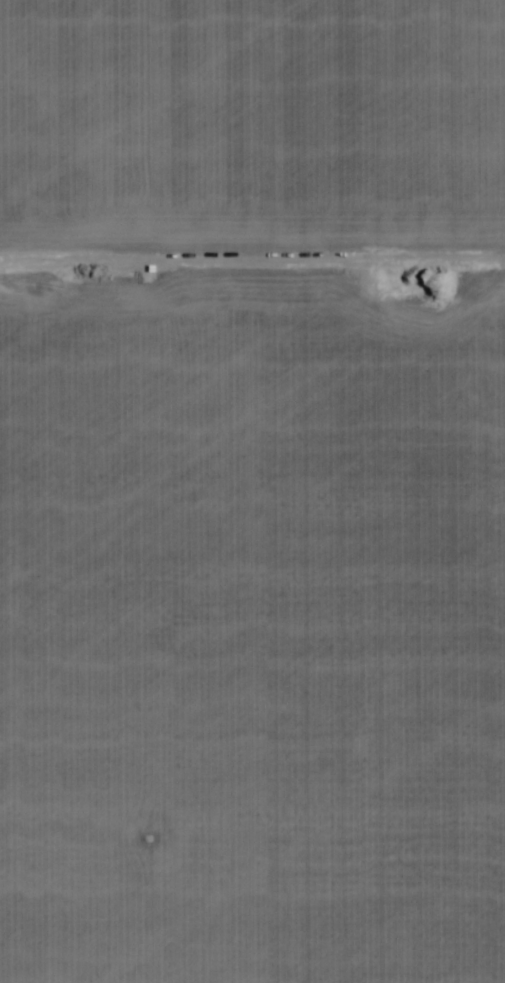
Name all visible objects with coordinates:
crop: (252, 491)

